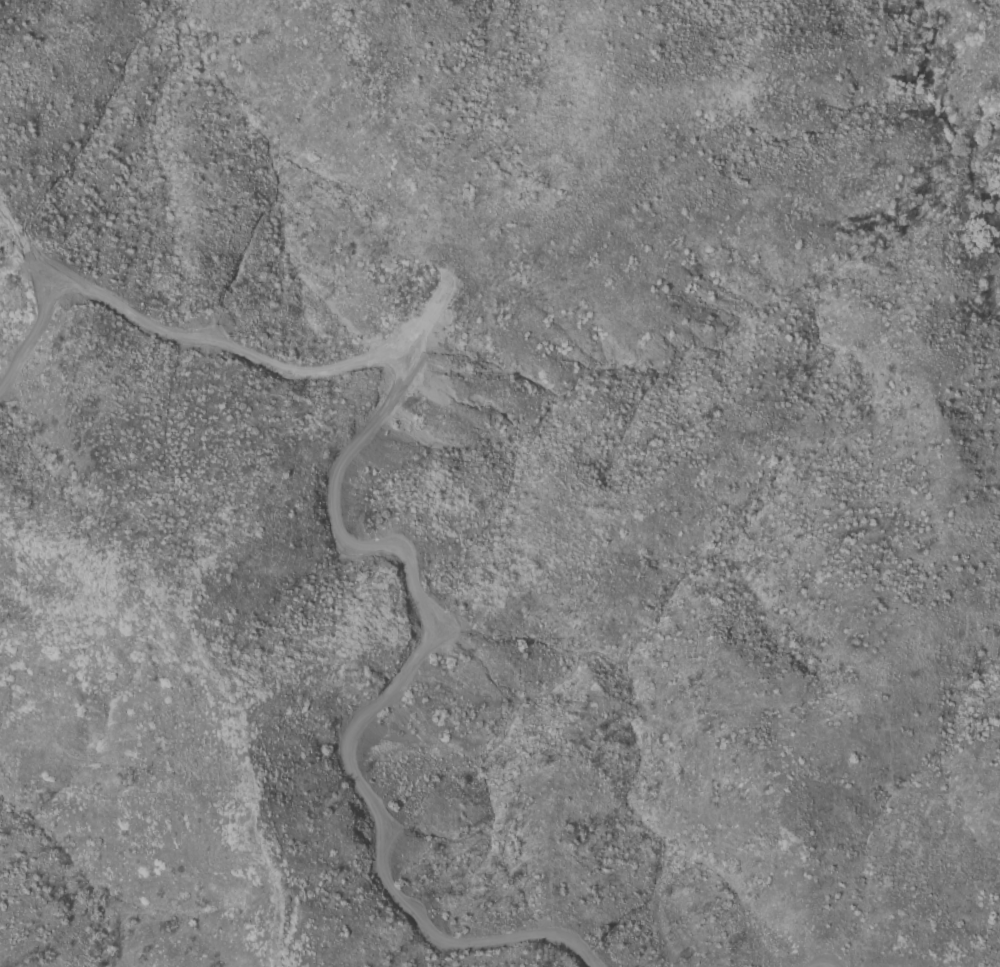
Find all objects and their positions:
road: (23, 251)
road: (50, 286)
road: (345, 539)
road: (432, 625)
road: (818, 963)

